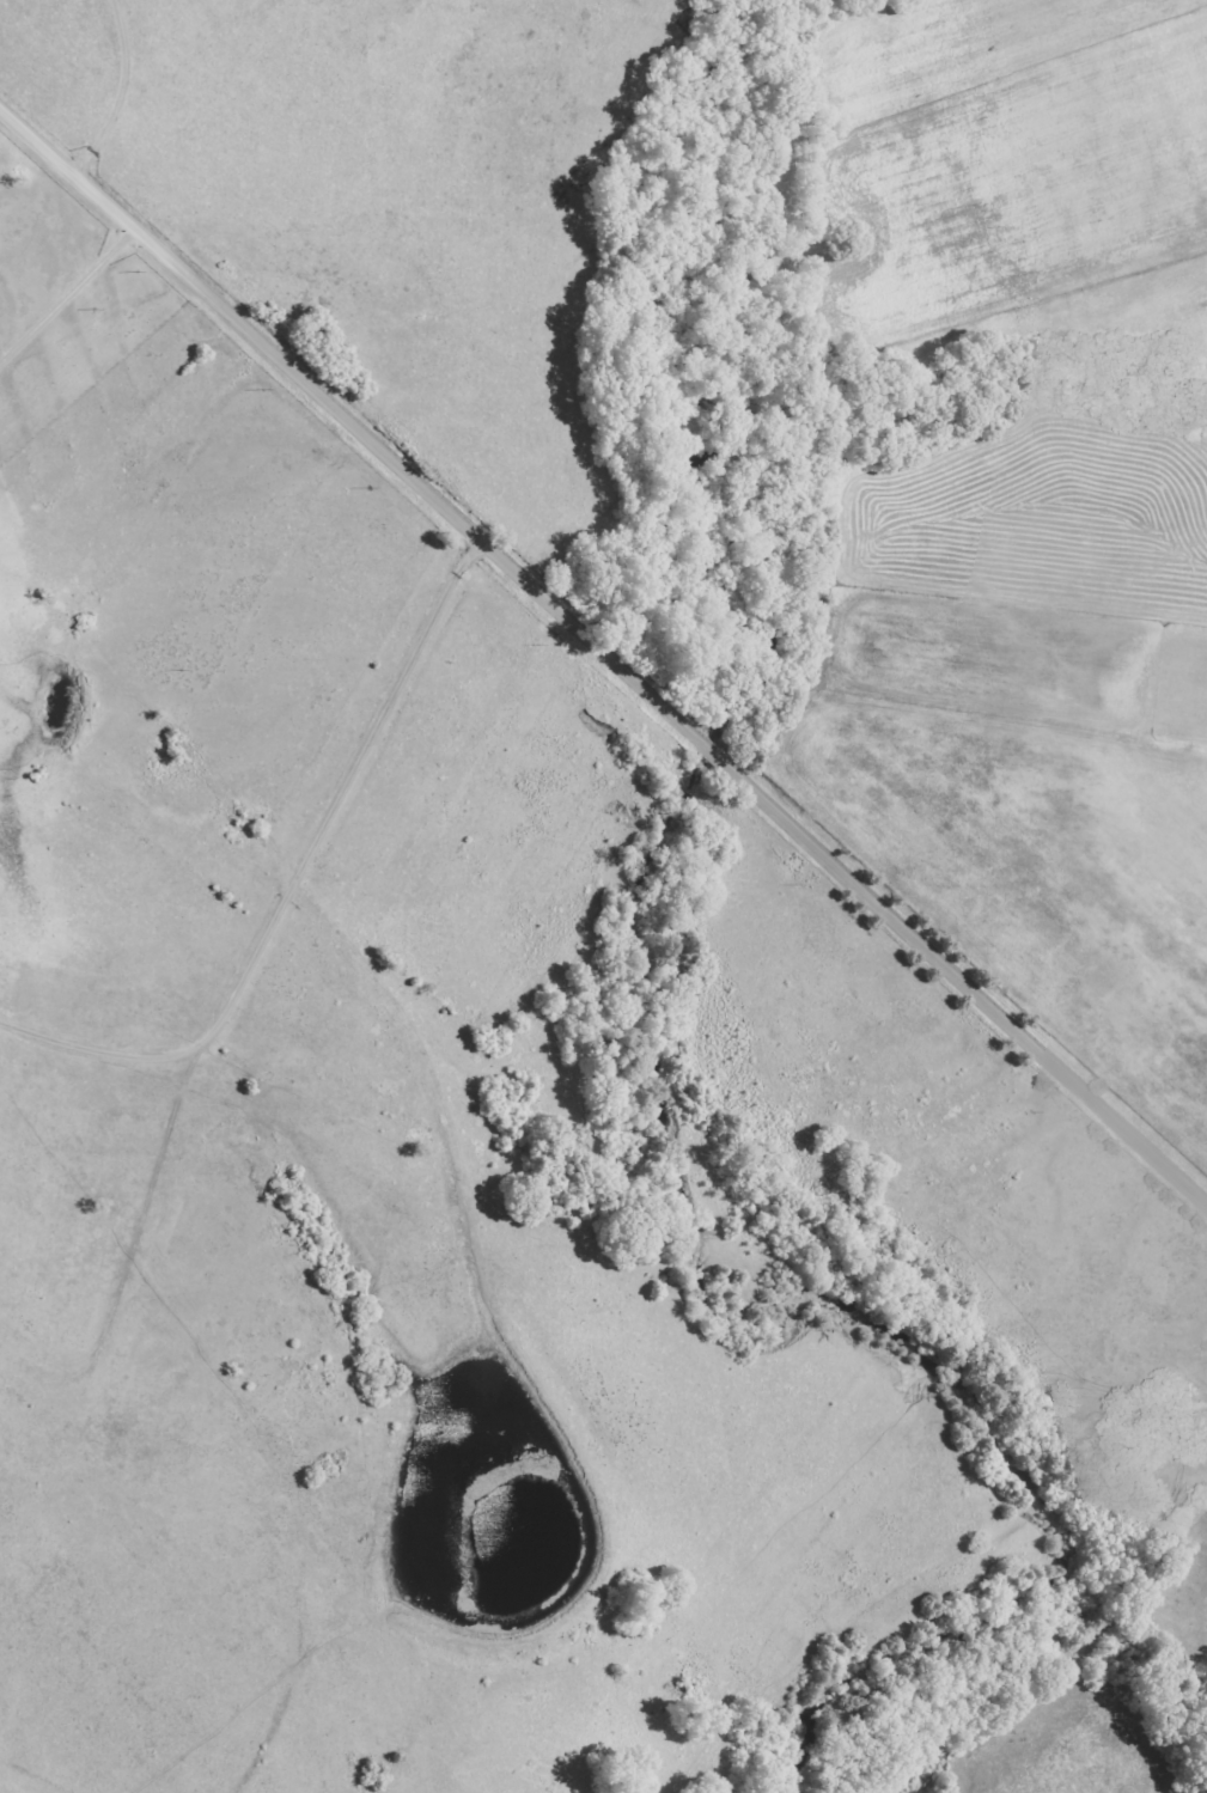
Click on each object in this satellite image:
road: (606, 651)
road: (244, 993)

